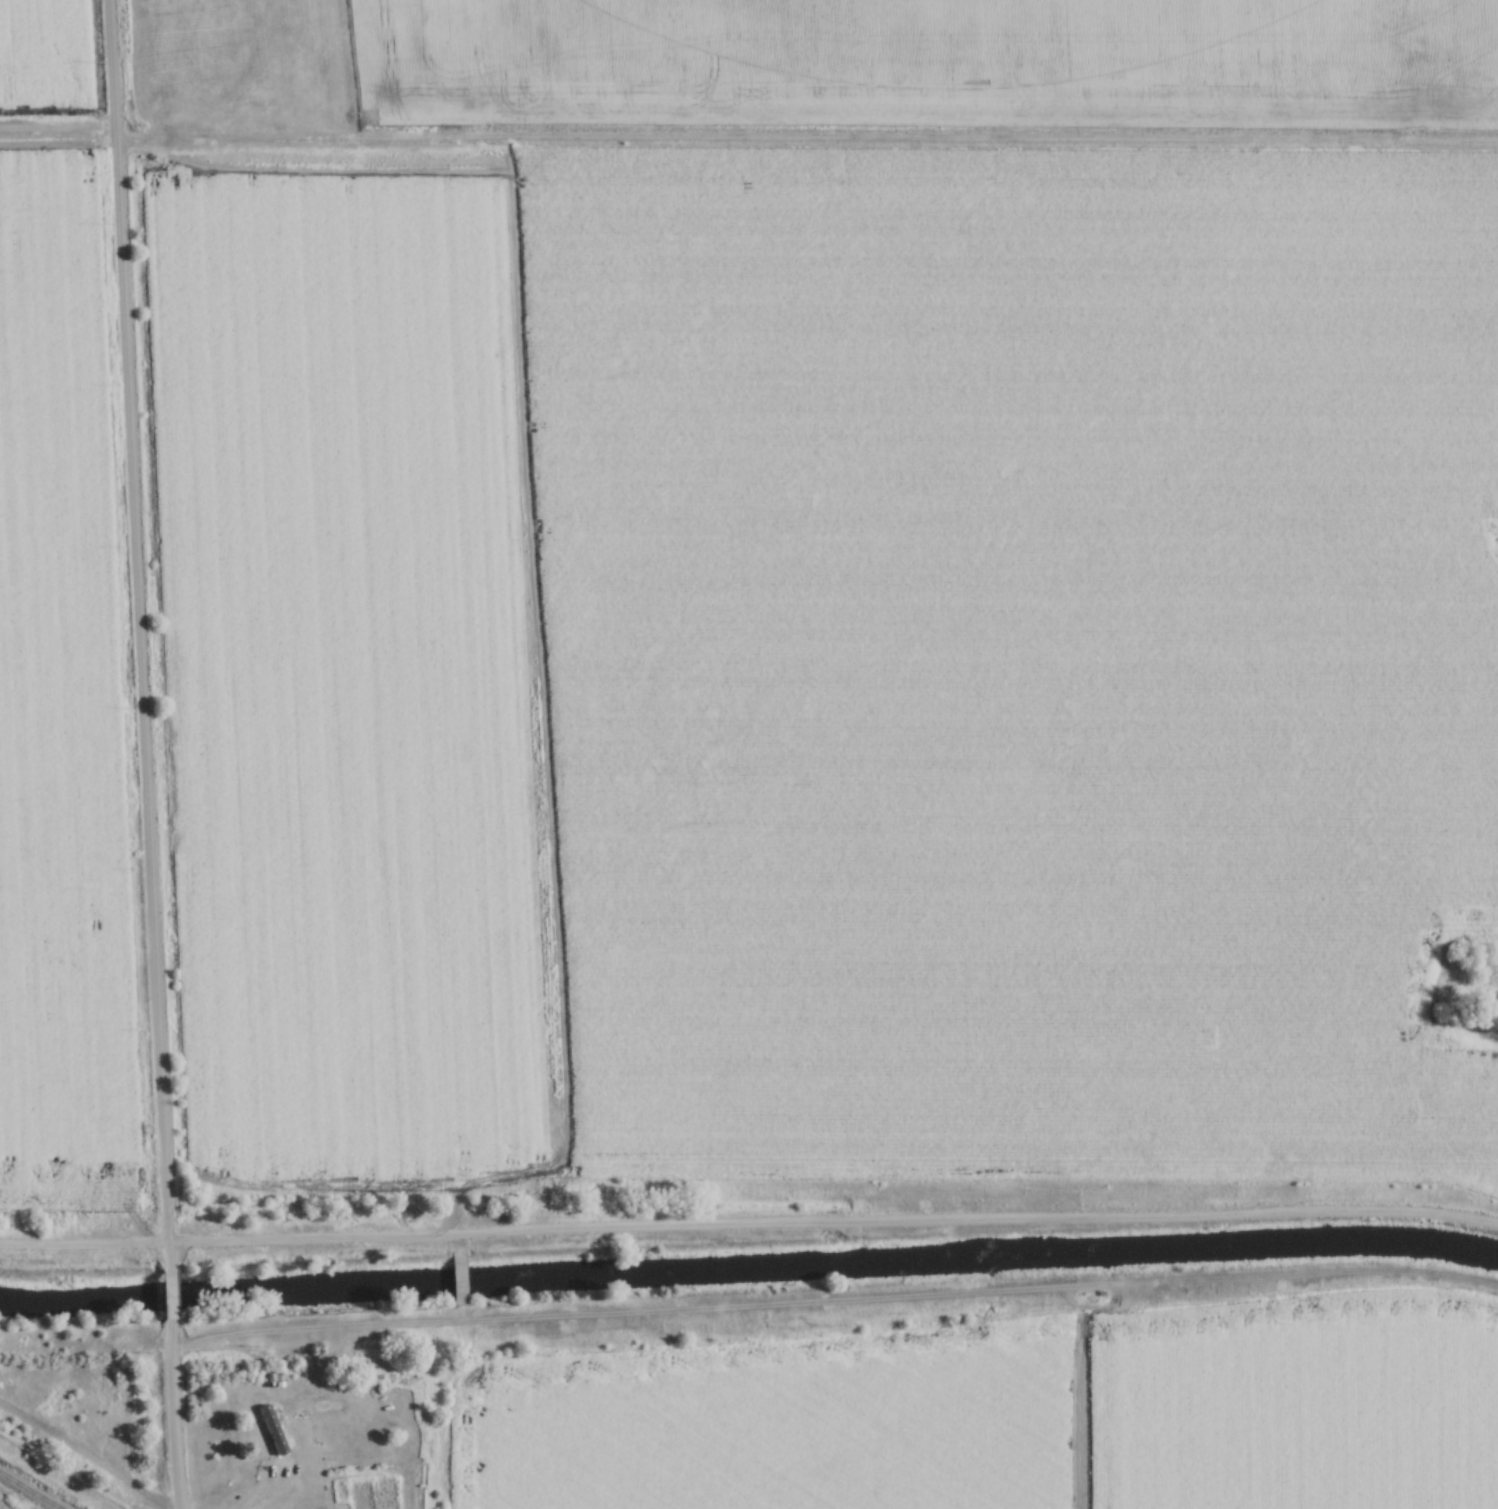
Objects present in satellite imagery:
road: (139, 637)
road: (749, 1226)
road: (460, 1278)
road: (169, 1302)
road: (648, 1309)
road: (175, 1419)
building: (264, 1426)
building: (271, 1431)
railway: (33, 1486)
road: (272, 1492)

